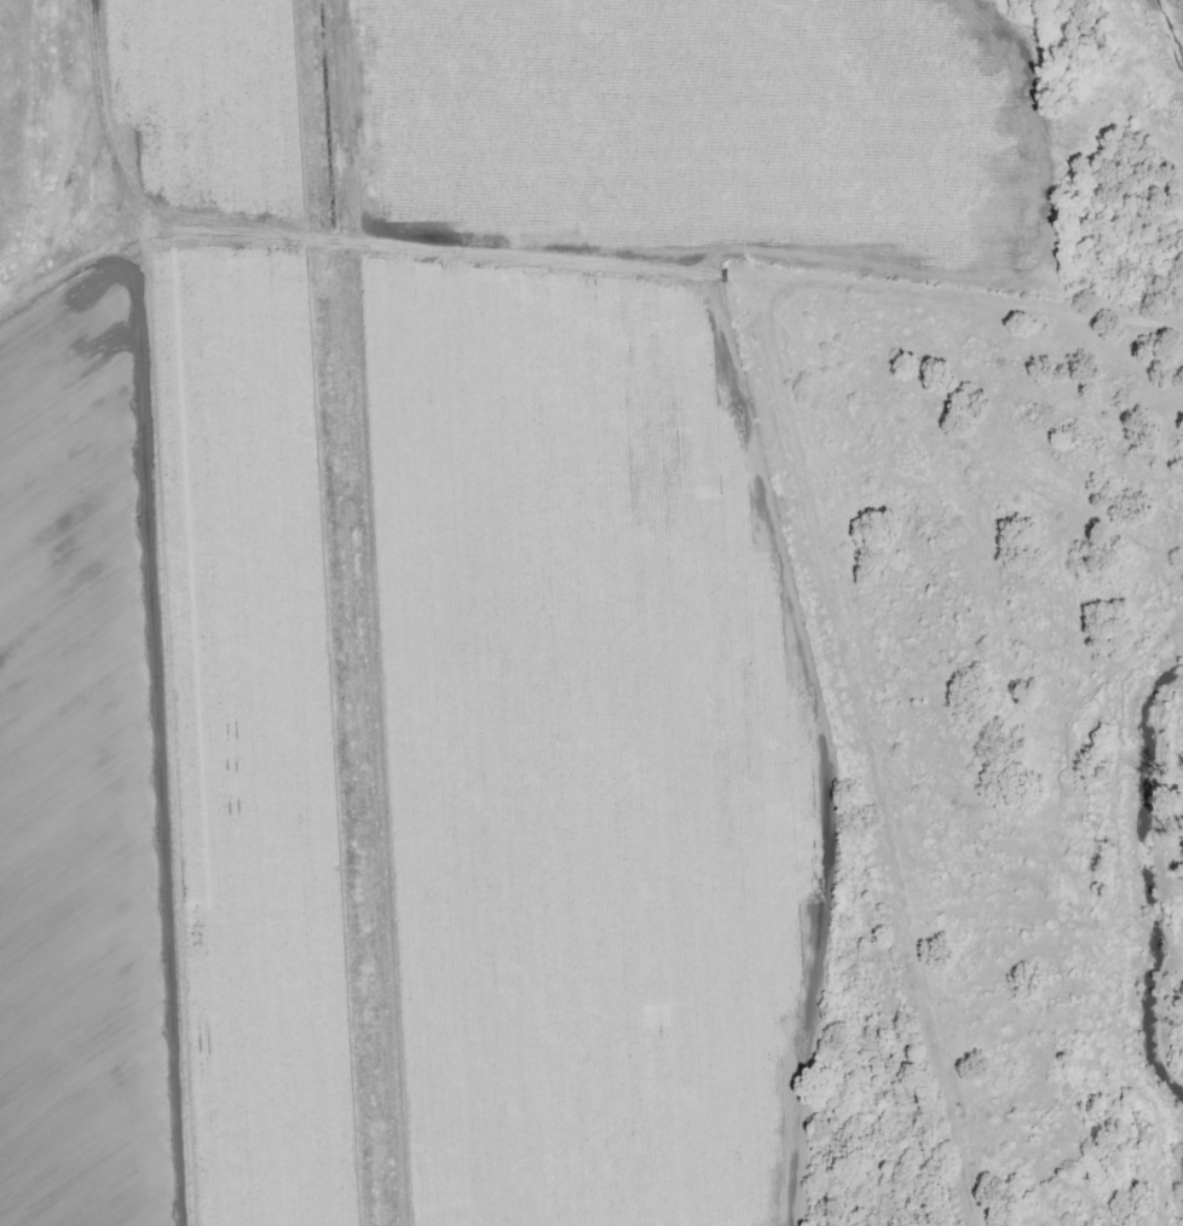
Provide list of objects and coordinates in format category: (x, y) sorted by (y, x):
road: (824, 557)

